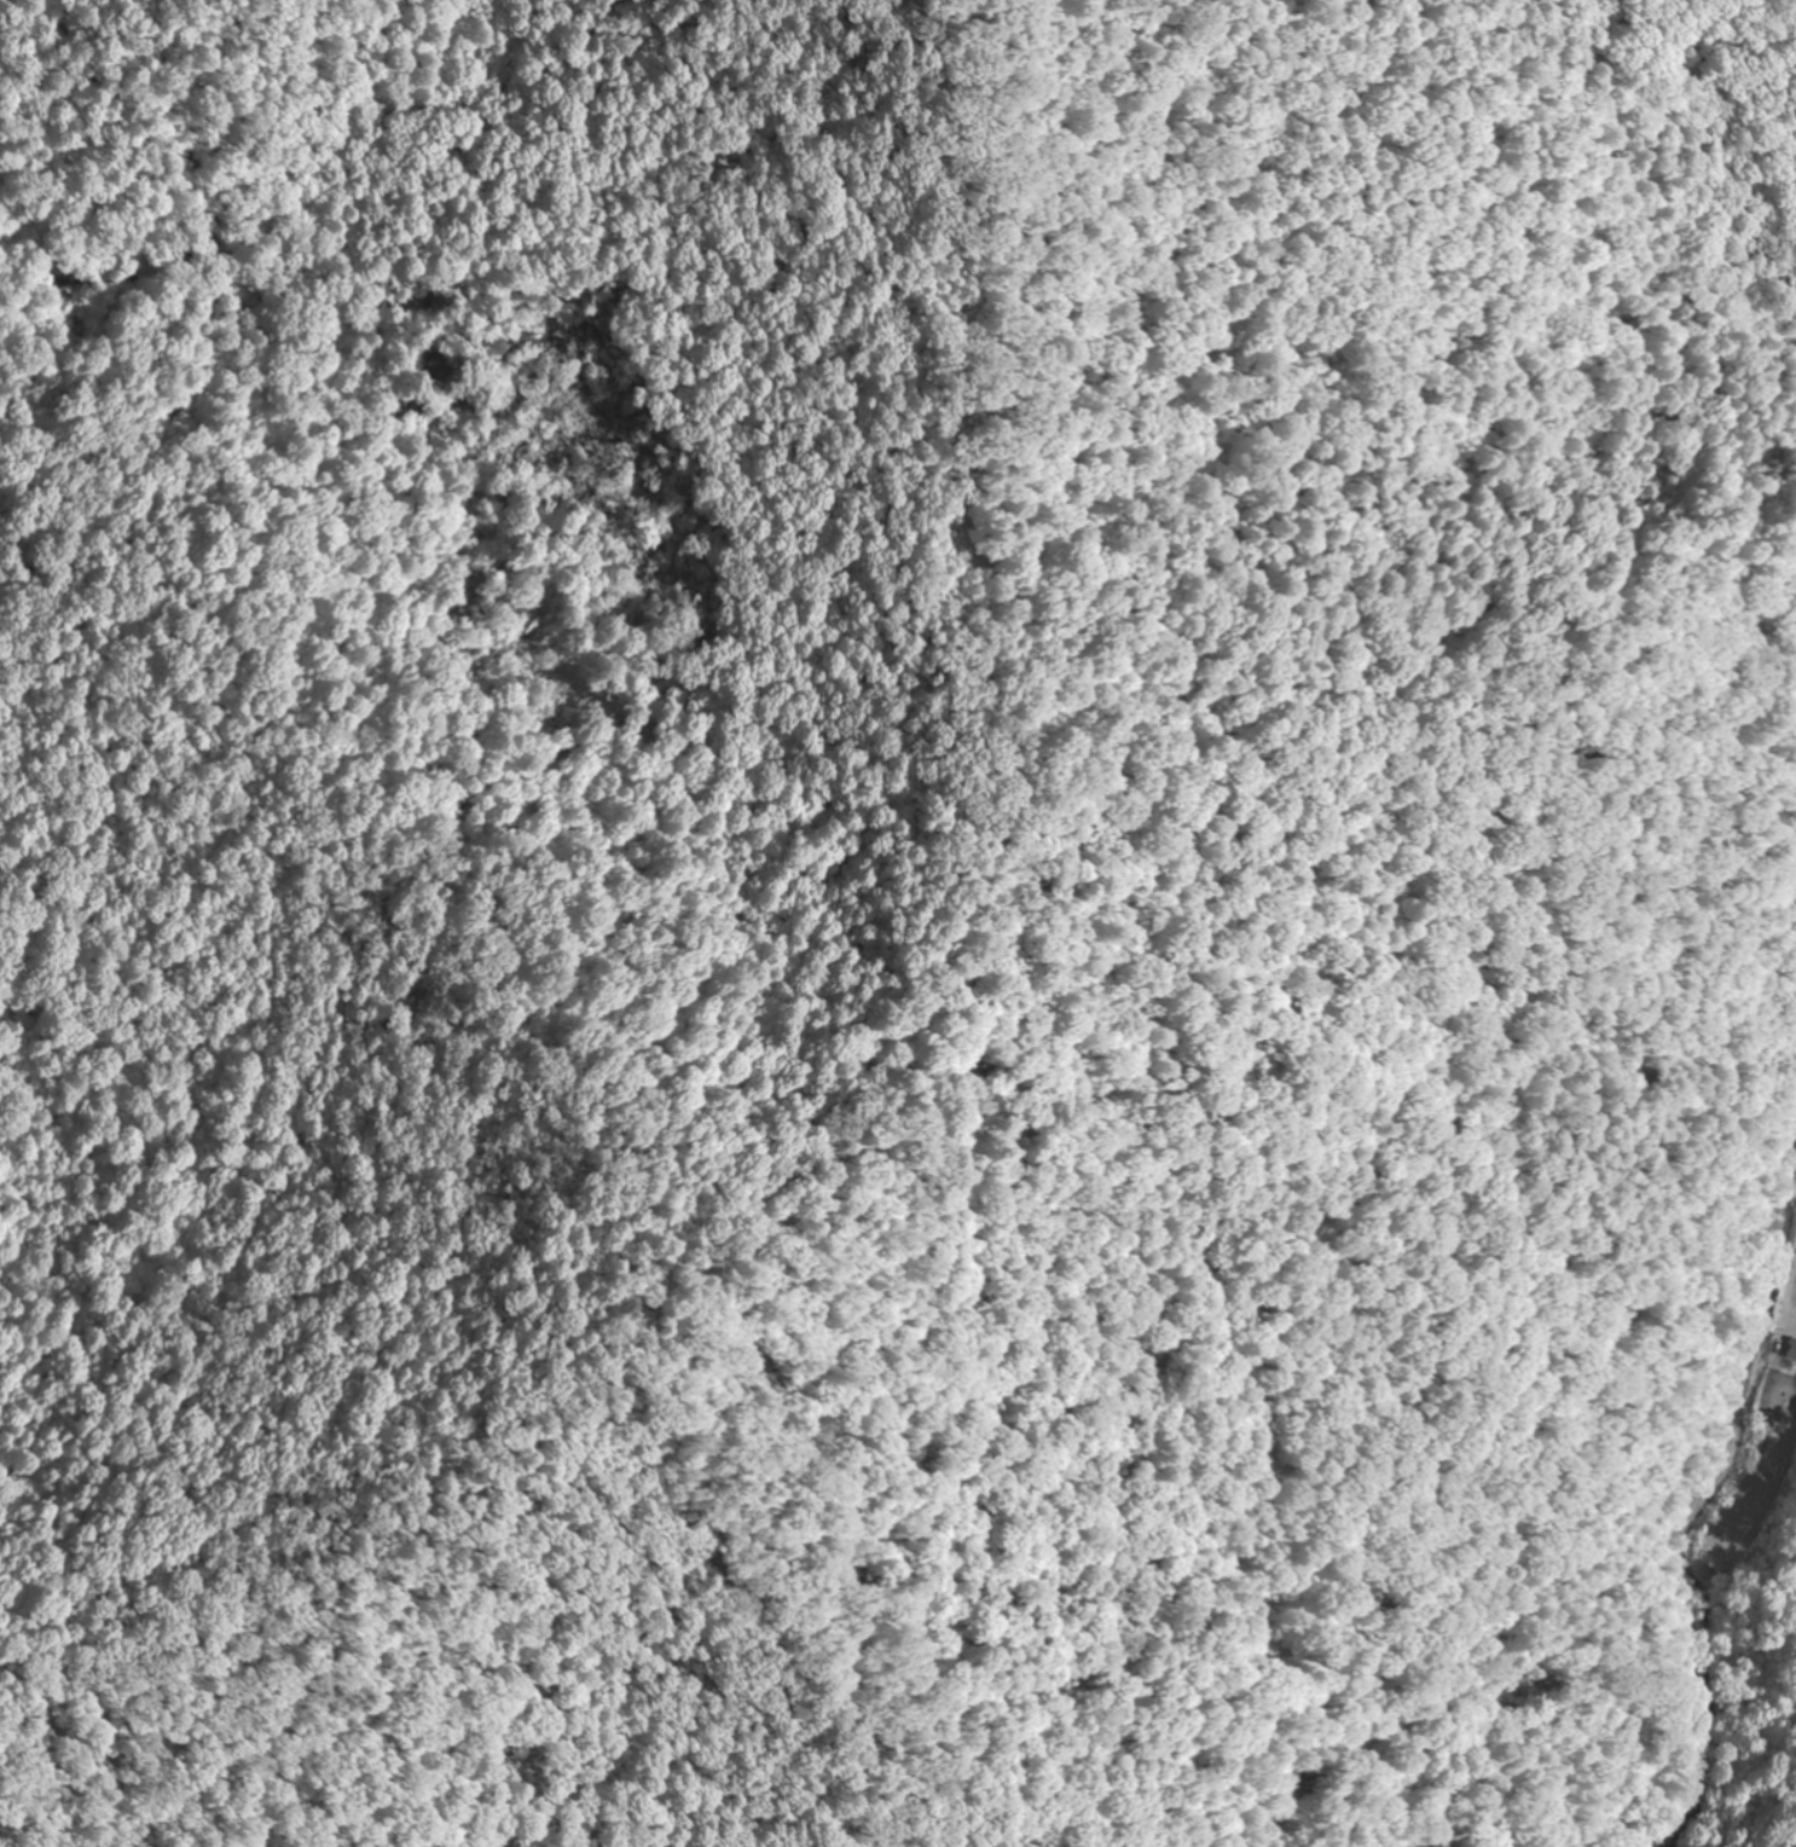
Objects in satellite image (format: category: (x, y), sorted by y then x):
building: (1791, 1350)
road: (1713, 1447)

